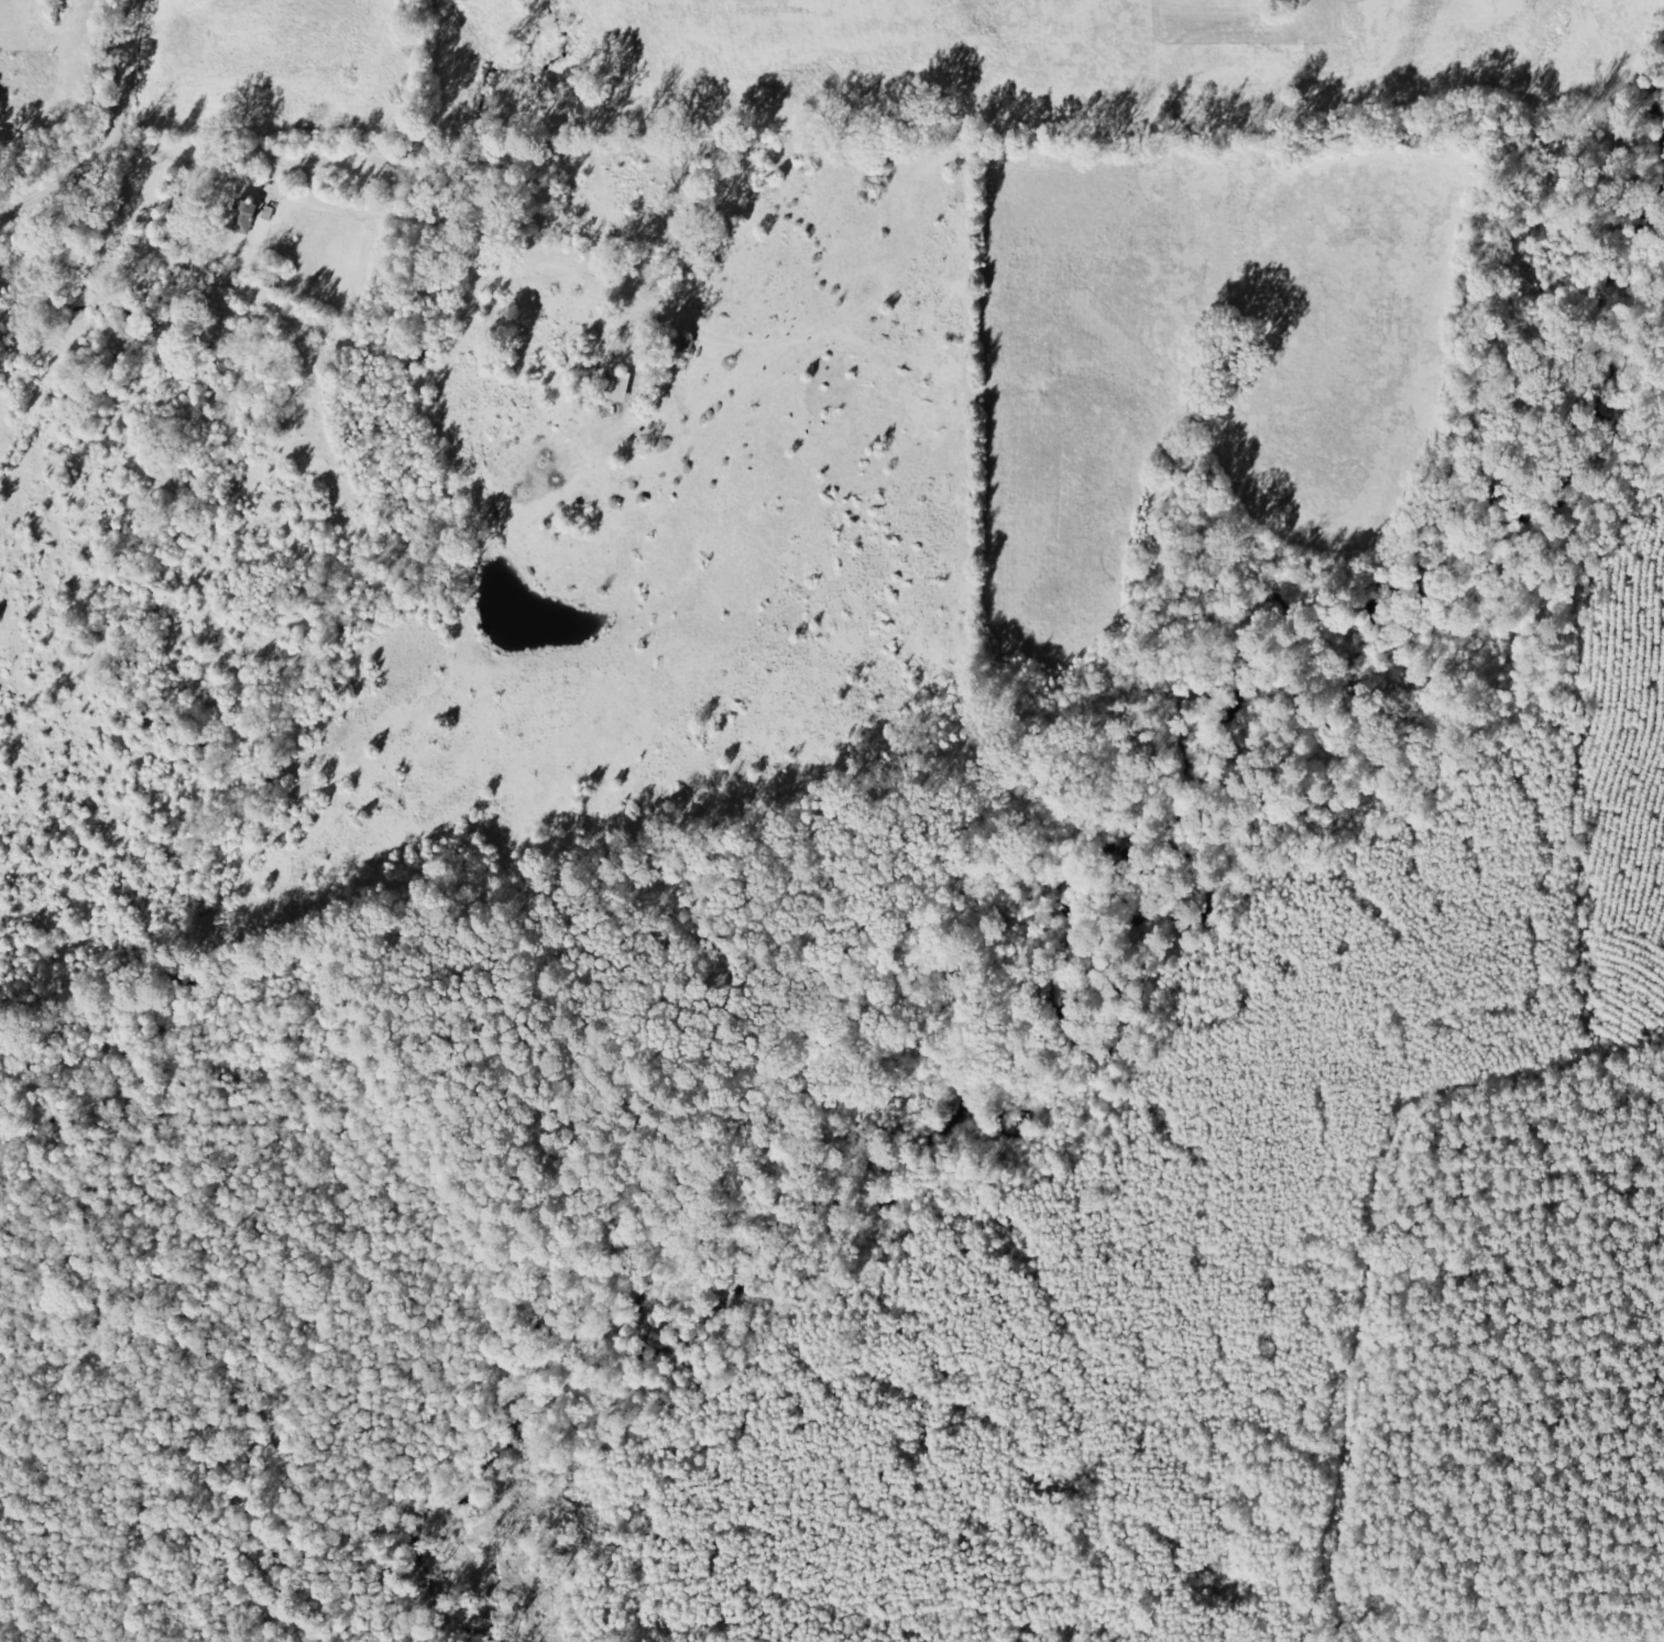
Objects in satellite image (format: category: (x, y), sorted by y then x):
road: (91, 114)
building: (248, 217)

